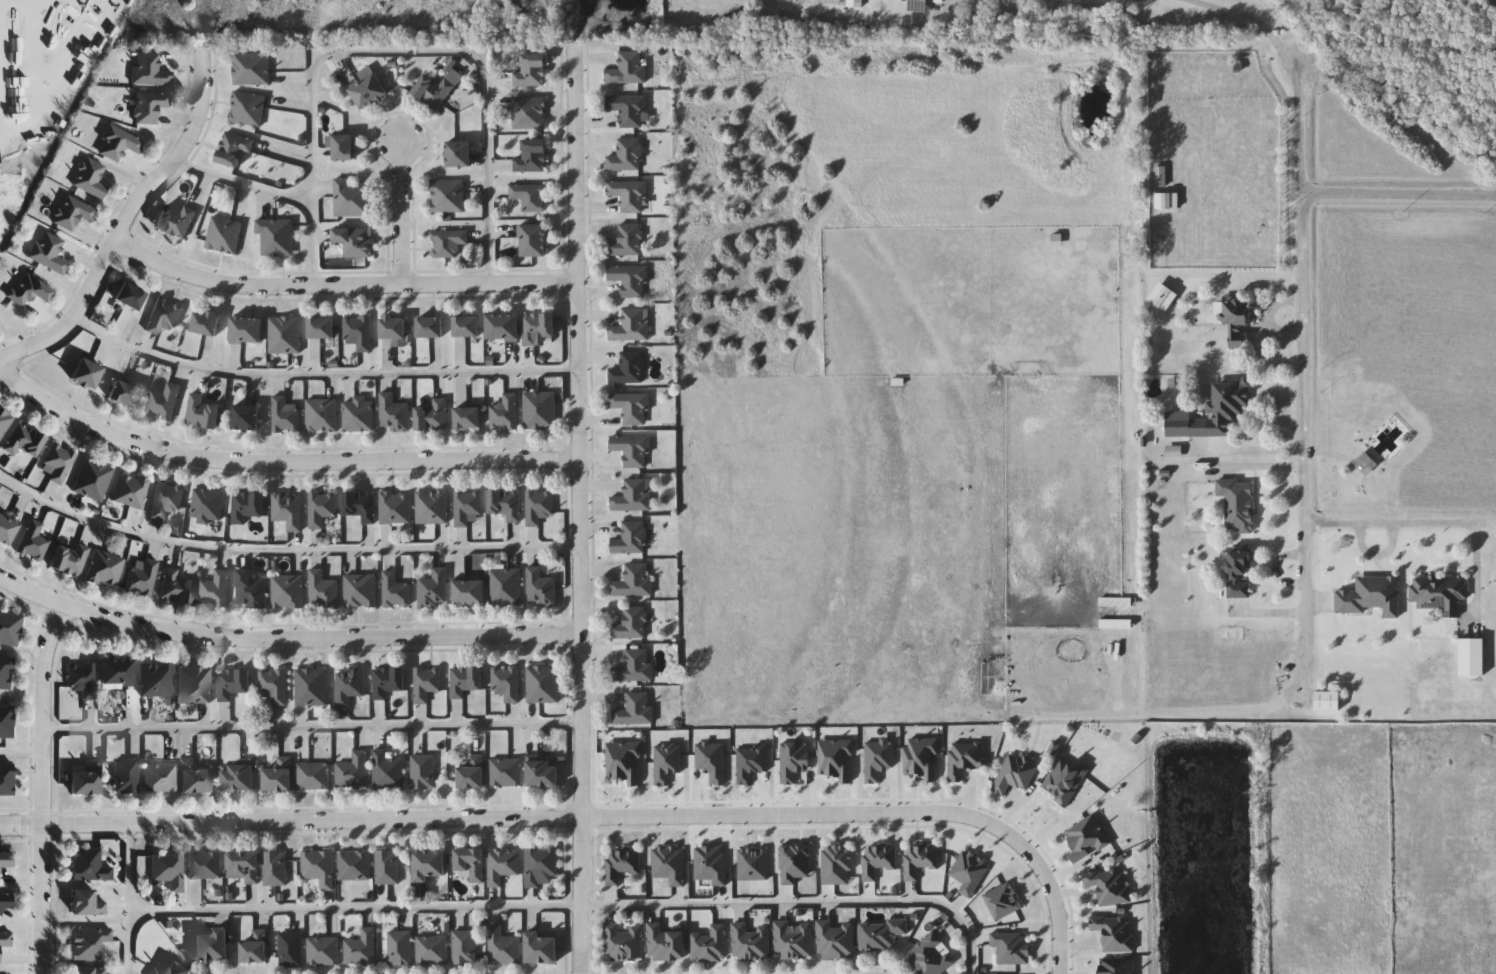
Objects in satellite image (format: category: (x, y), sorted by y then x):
building: (918, 6)
road: (1243, 15)
road: (399, 52)
building: (252, 69)
building: (628, 69)
building: (150, 70)
building: (532, 71)
building: (369, 92)
building: (433, 92)
building: (150, 106)
building: (247, 109)
building: (628, 110)
building: (530, 113)
building: (119, 143)
building: (343, 148)
building: (234, 149)
building: (459, 154)
building: (626, 156)
building: (532, 157)
building: (1160, 177)
building: (92, 178)
road: (243, 182)
building: (630, 195)
road: (1398, 196)
building: (448, 197)
building: (530, 197)
building: (352, 199)
building: (1167, 202)
building: (73, 213)
road: (401, 213)
building: (177, 221)
road: (123, 223)
building: (224, 235)
building: (276, 236)
building: (534, 240)
building: (354, 241)
building: (626, 241)
building: (448, 243)
building: (49, 252)
road: (1236, 273)
building: (630, 280)
road: (339, 286)
building: (30, 289)
building: (130, 295)
building: (164, 315)
building: (1235, 320)
building: (206, 323)
building: (466, 326)
building: (503, 326)
building: (630, 326)
building: (393, 327)
building: (430, 327)
building: (537, 327)
building: (321, 328)
building: (246, 330)
building: (358, 331)
building: (285, 335)
building: (629, 368)
building: (87, 373)
road: (320, 373)
road: (1305, 378)
building: (124, 393)
building: (164, 402)
building: (632, 408)
building: (540, 411)
building: (504, 412)
building: (1212, 412)
building: (203, 413)
building: (394, 413)
building: (359, 414)
building: (285, 415)
building: (322, 416)
building: (432, 416)
building: (246, 418)
building: (468, 418)
building: (5, 421)
building: (24, 440)
building: (632, 451)
building: (59, 463)
building: (1365, 463)
road: (276, 464)
building: (94, 480)
building: (130, 490)
building: (633, 496)
building: (167, 500)
building: (506, 504)
building: (1237, 505)
building: (208, 506)
building: (247, 506)
building: (361, 506)
building: (467, 507)
building: (539, 507)
building: (432, 508)
building: (396, 509)
building: (288, 510)
building: (321, 510)
road: (579, 511)
road: (1400, 524)
building: (6, 529)
building: (631, 539)
building: (34, 542)
road: (283, 550)
building: (70, 560)
building: (105, 569)
road: (1474, 574)
building: (142, 576)
building: (1238, 576)
building: (634, 581)
building: (176, 587)
building: (506, 588)
building: (541, 588)
building: (434, 589)
building: (215, 590)
building: (323, 590)
building: (250, 591)
building: (361, 591)
building: (395, 591)
building: (288, 592)
building: (470, 592)
building: (1439, 594)
building: (1371, 597)
building: (631, 624)
building: (10, 628)
road: (285, 640)
building: (635, 666)
building: (118, 672)
building: (6, 673)
building: (83, 679)
building: (156, 680)
building: (465, 681)
building: (388, 682)
building: (233, 683)
building: (427, 683)
building: (507, 683)
building: (543, 684)
building: (195, 685)
building: (274, 686)
building: (349, 686)
building: (312, 687)
building: (1328, 701)
building: (635, 709)
road: (1181, 709)
building: (7, 721)
road: (313, 725)
road: (22, 752)
building: (354, 771)
building: (388, 771)
building: (423, 772)
building: (472, 772)
building: (506, 772)
building: (543, 774)
building: (127, 775)
building: (279, 776)
building: (314, 776)
building: (161, 777)
building: (195, 777)
building: (87, 778)
building: (7, 779)
building: (238, 779)
road: (44, 787)
road: (873, 815)
road: (290, 822)
building: (6, 860)
building: (471, 863)
building: (90, 864)
building: (429, 865)
building: (621, 865)
building: (205, 866)
building: (354, 866)
building: (502, 866)
building: (244, 867)
building: (319, 867)
building: (388, 867)
building: (542, 867)
building: (170, 869)
building: (275, 869)
road: (131, 899)
building: (6, 902)
building: (87, 902)
road: (577, 905)
building: (881, 935)
building: (5, 940)
building: (836, 940)
building: (793, 941)
building: (90, 942)
building: (623, 943)
building: (750, 943)
building: (666, 944)
building: (710, 944)
building: (212, 945)
building: (503, 947)
building: (432, 948)
building: (465, 948)
building: (542, 948)
building: (255, 949)
building: (362, 949)
building: (400, 949)
building: (291, 950)
building: (323, 952)
building: (931, 956)
building: (177, 969)
building: (89, 971)
building: (156, 972)

